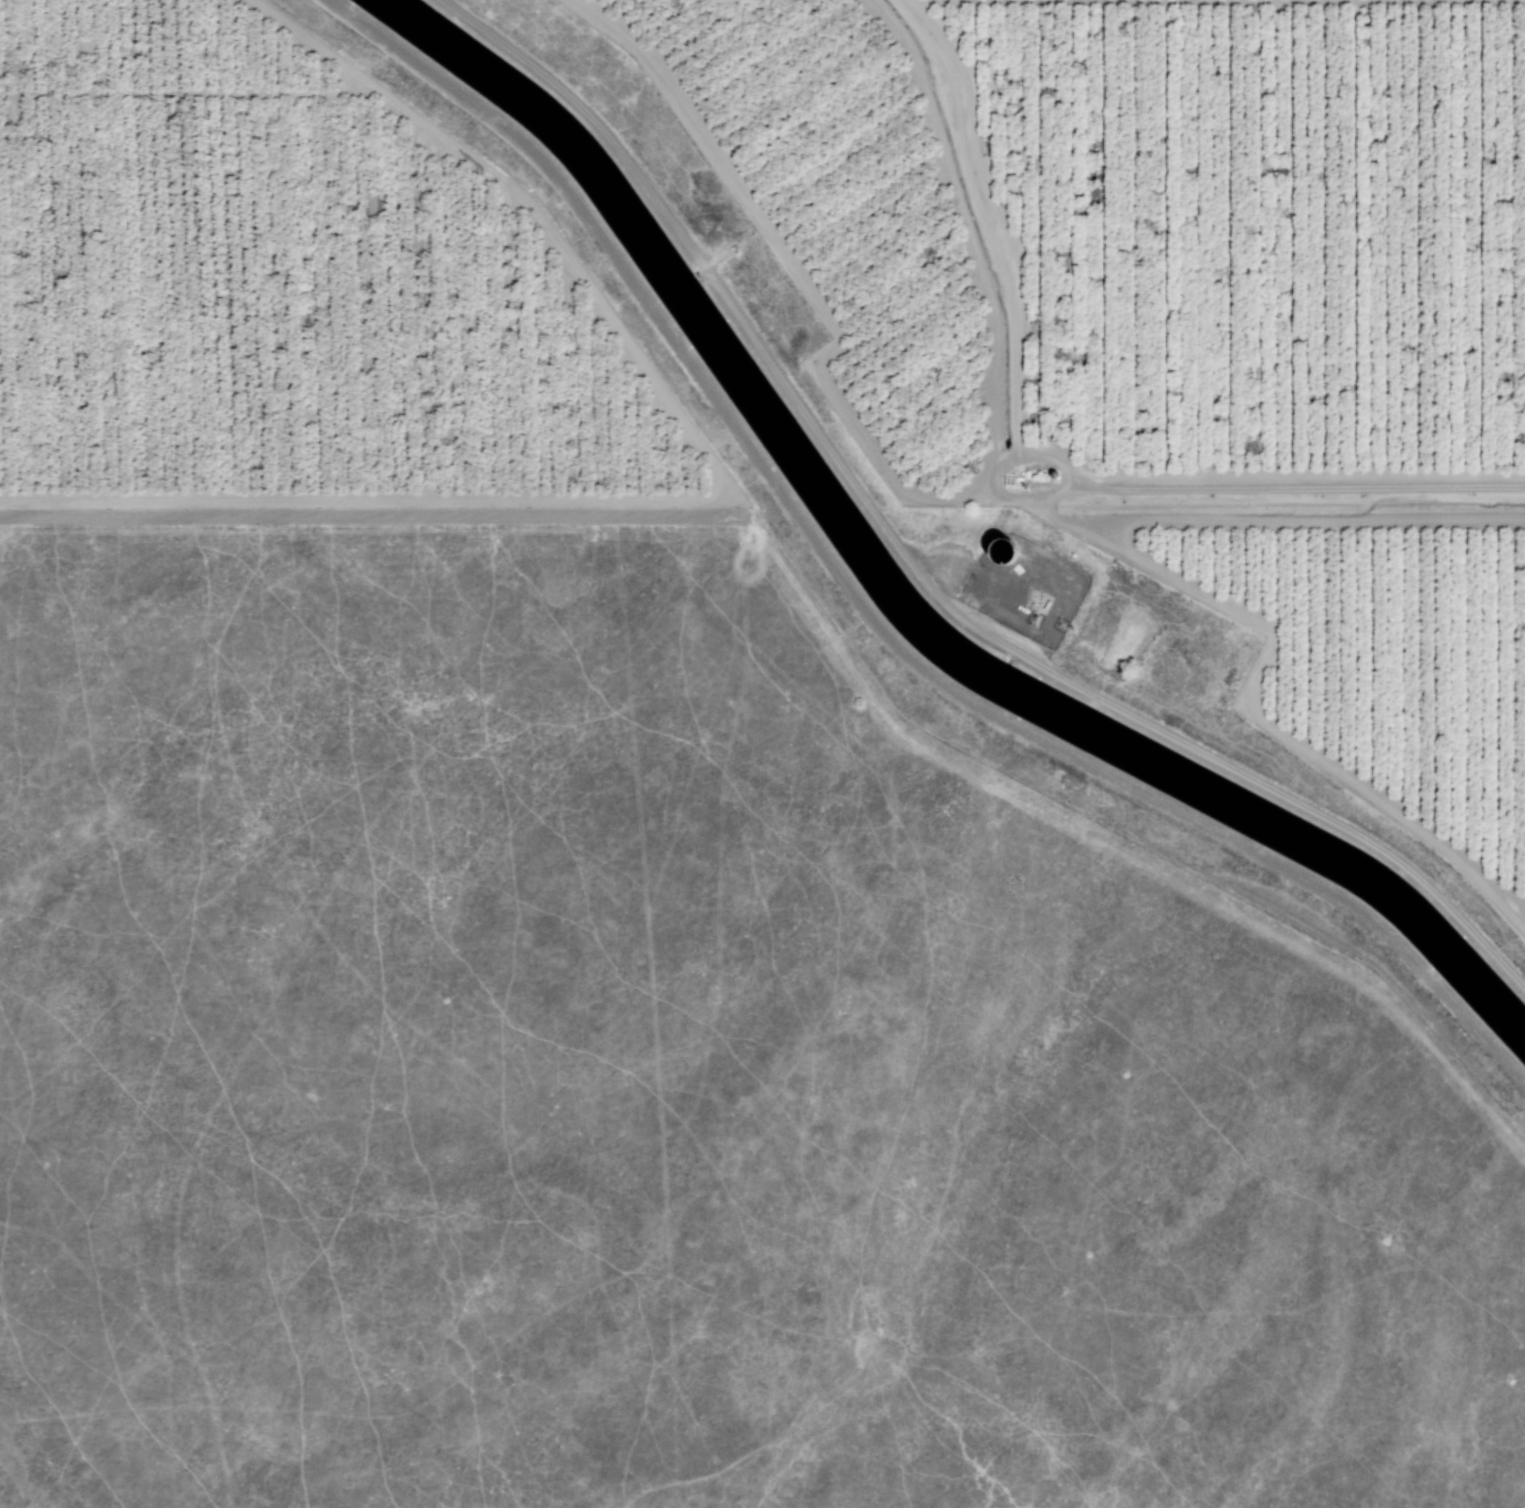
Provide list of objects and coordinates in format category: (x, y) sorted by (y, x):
road: (186, 92)
road: (983, 219)
road: (968, 232)
road: (792, 267)
road: (1048, 459)
road: (1269, 487)
road: (712, 500)
road: (390, 520)
road: (1302, 520)
road: (1254, 680)

